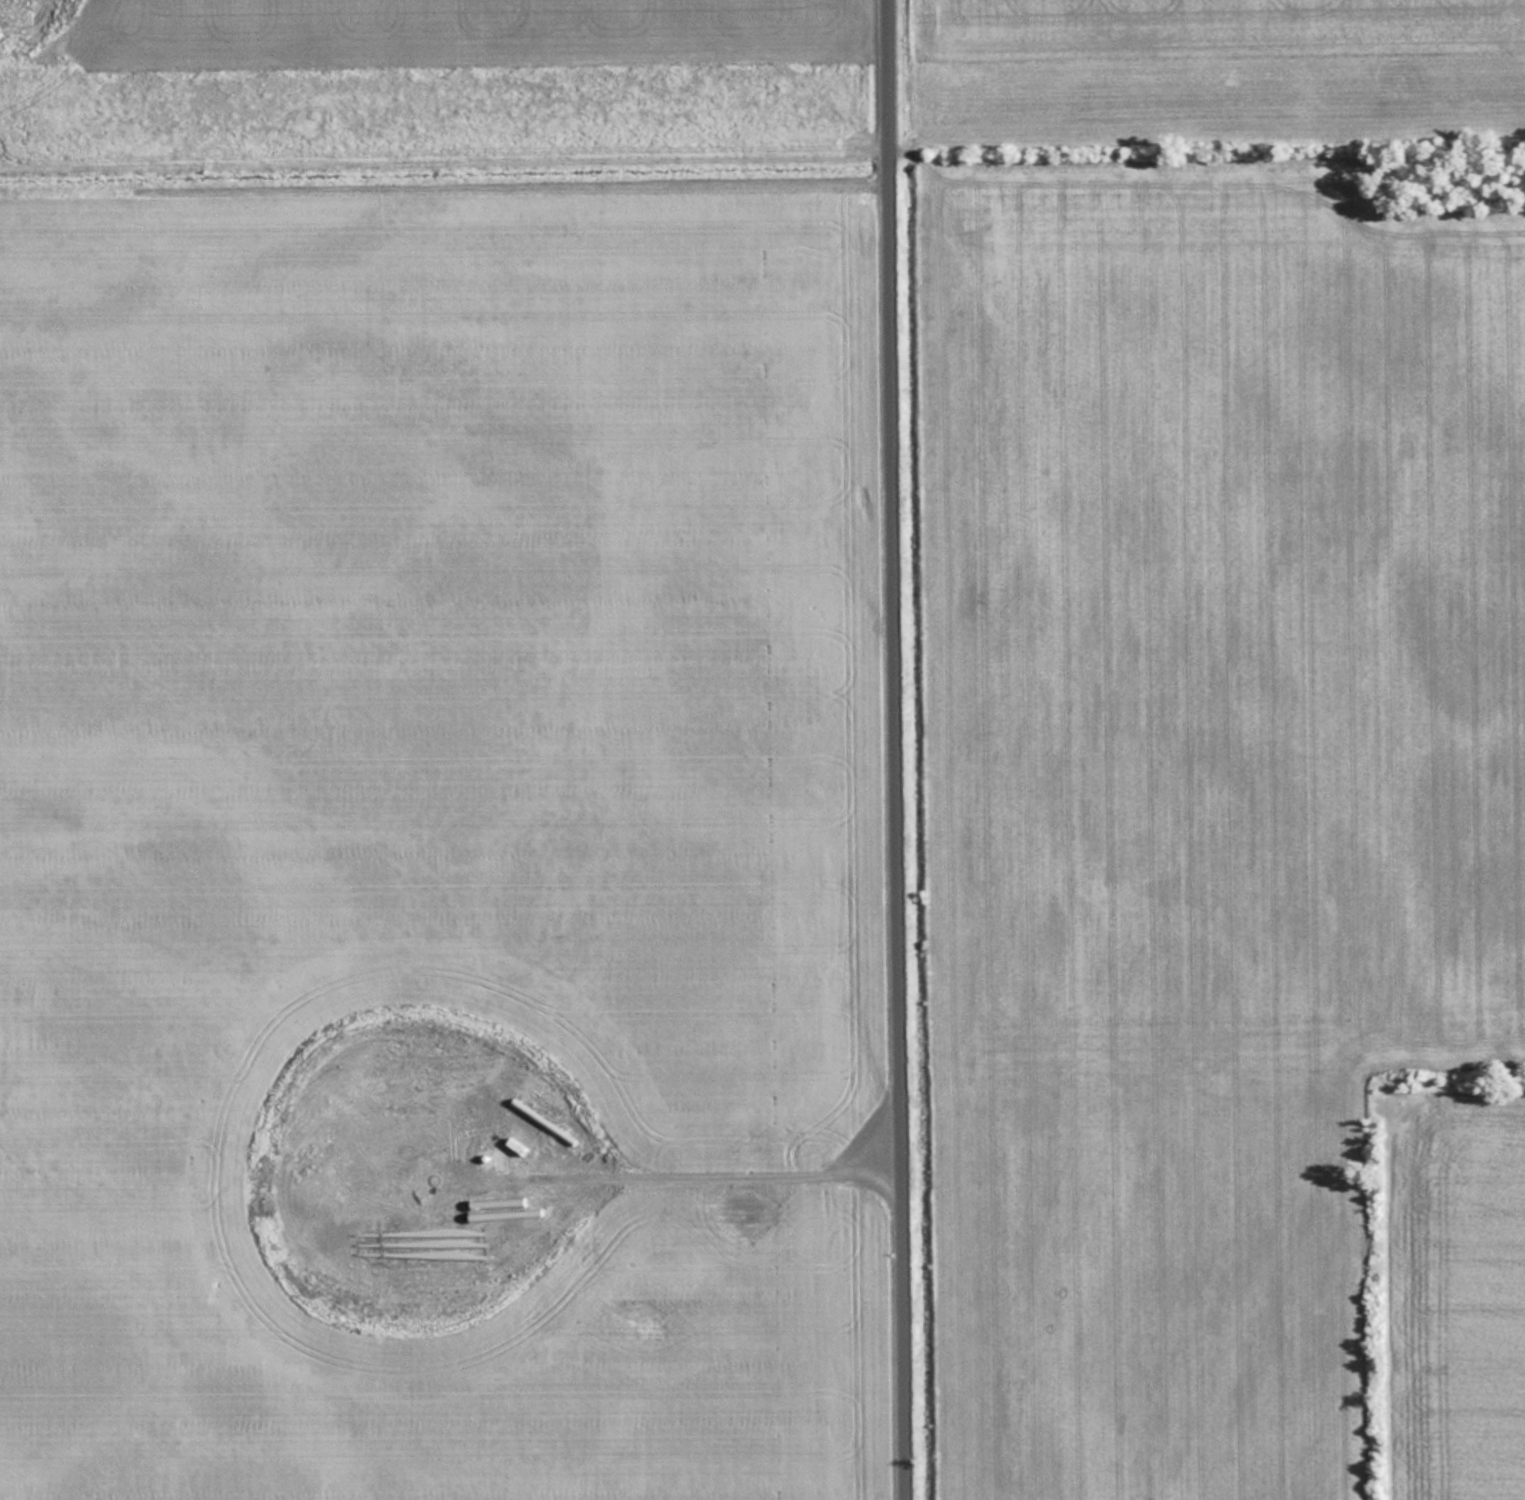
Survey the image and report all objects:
road: (902, 749)
wind turbine: (431, 1182)

